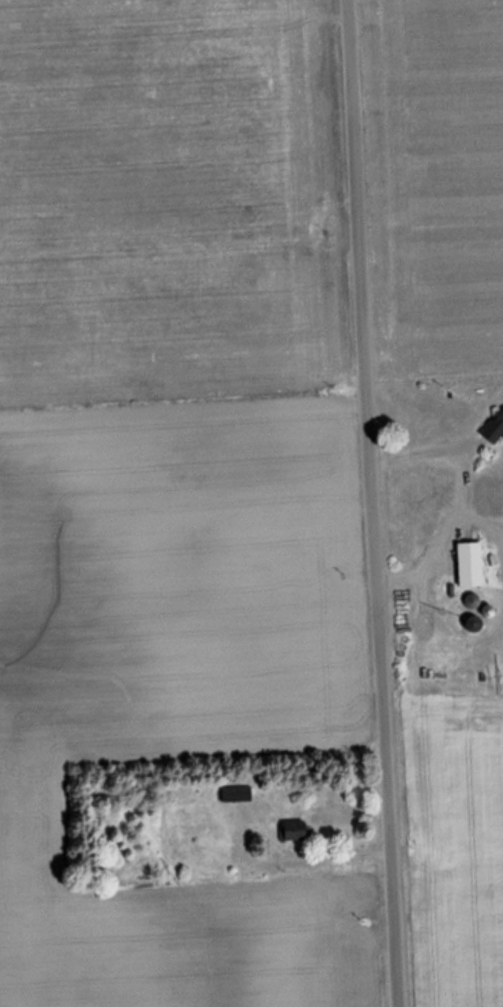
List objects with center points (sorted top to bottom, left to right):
building: (495, 429)
road: (371, 503)
building: (471, 564)
building: (472, 601)
building: (474, 624)
building: (236, 795)
building: (294, 831)

